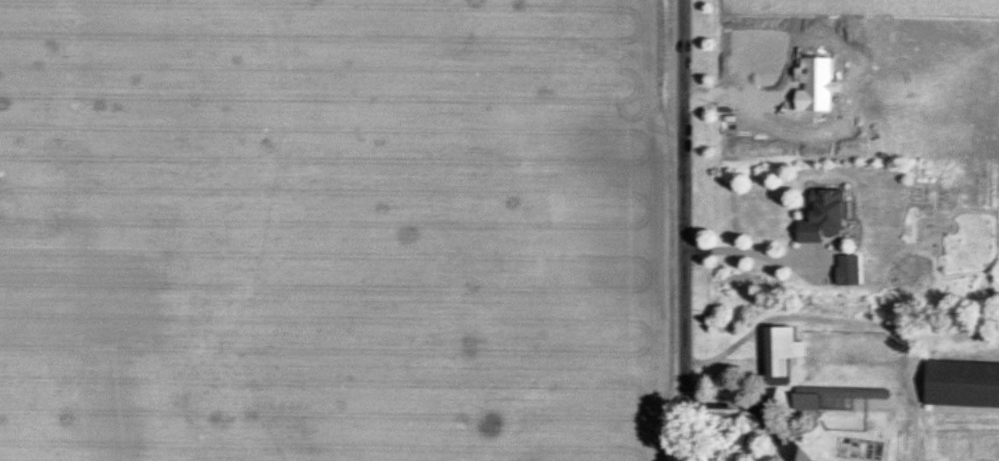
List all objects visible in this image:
building: (820, 217)
road: (684, 230)
road: (754, 252)
building: (846, 271)
road: (792, 317)
building: (780, 350)
building: (959, 385)
building: (831, 399)

